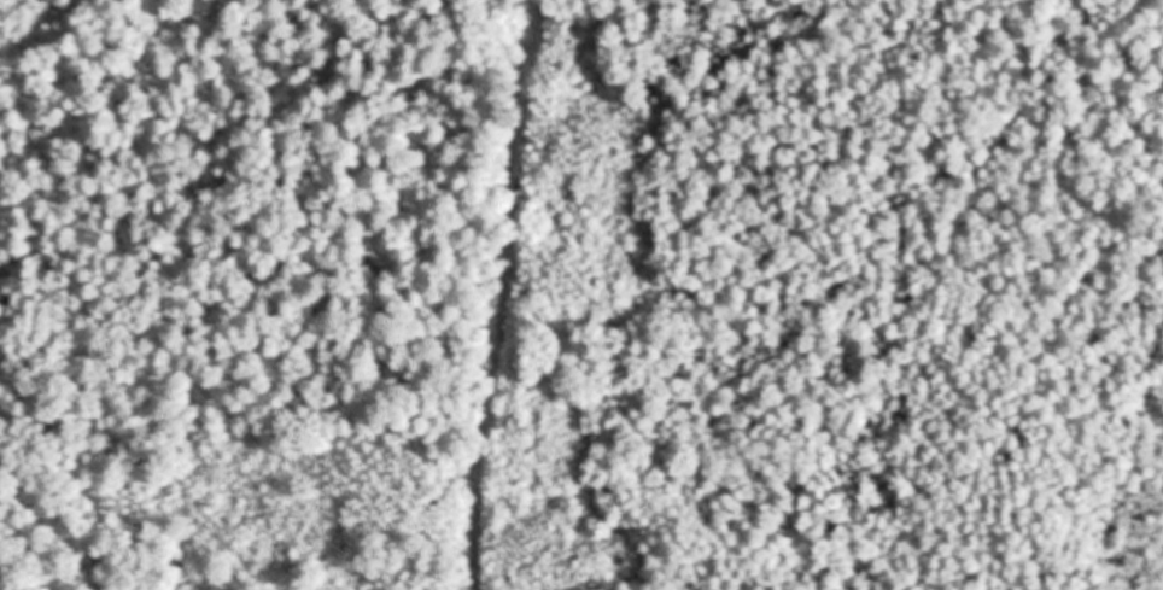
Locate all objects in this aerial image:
road: (505, 294)

